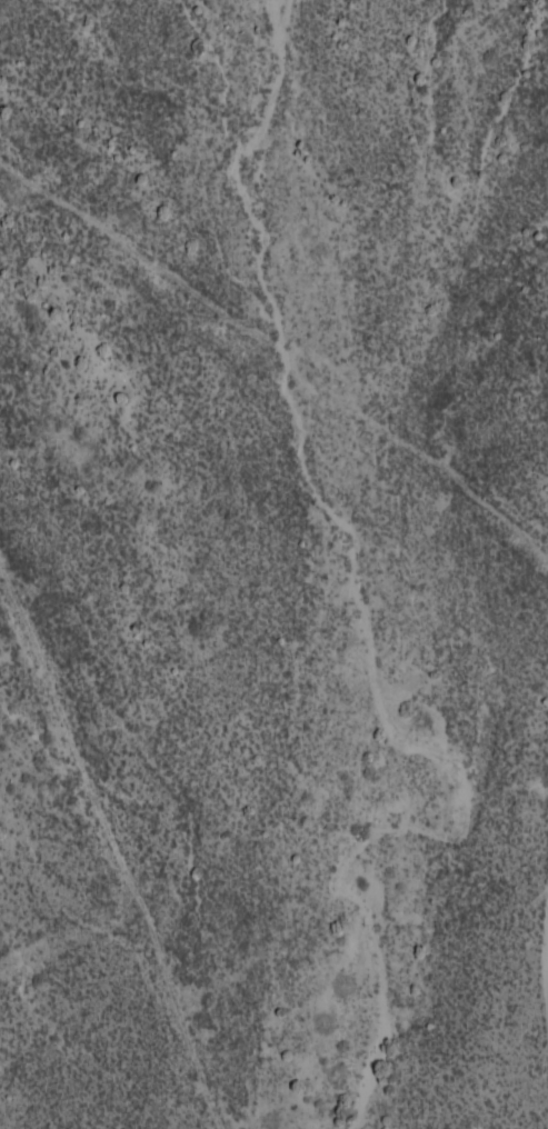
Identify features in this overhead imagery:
river: (356, 619)

